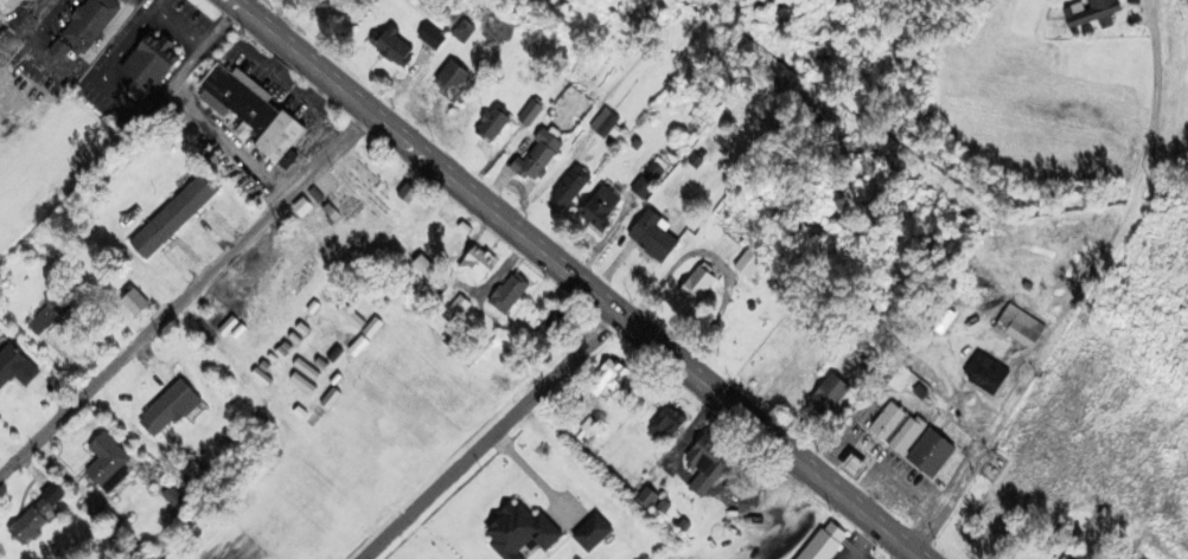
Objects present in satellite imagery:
building: (1094, 12)
road: (1110, 13)
building: (94, 24)
building: (470, 31)
building: (435, 37)
building: (403, 49)
building: (155, 64)
road: (1126, 86)
building: (258, 110)
building: (611, 123)
building: (545, 155)
building: (577, 187)
road: (1136, 198)
building: (611, 208)
building: (181, 214)
building: (662, 238)
building: (734, 246)
building: (481, 268)
road: (576, 274)
building: (704, 284)
building: (513, 294)
road: (187, 295)
building: (142, 306)
building: (937, 321)
building: (1016, 326)
building: (558, 329)
building: (18, 368)
building: (978, 371)
building: (892, 379)
road: (1023, 379)
building: (615, 385)
road: (926, 393)
building: (822, 396)
building: (174, 407)
building: (671, 425)
road: (494, 435)
building: (903, 438)
road: (582, 454)
building: (111, 458)
building: (713, 465)
building: (842, 465)
building: (44, 513)
building: (816, 542)
road: (918, 555)

